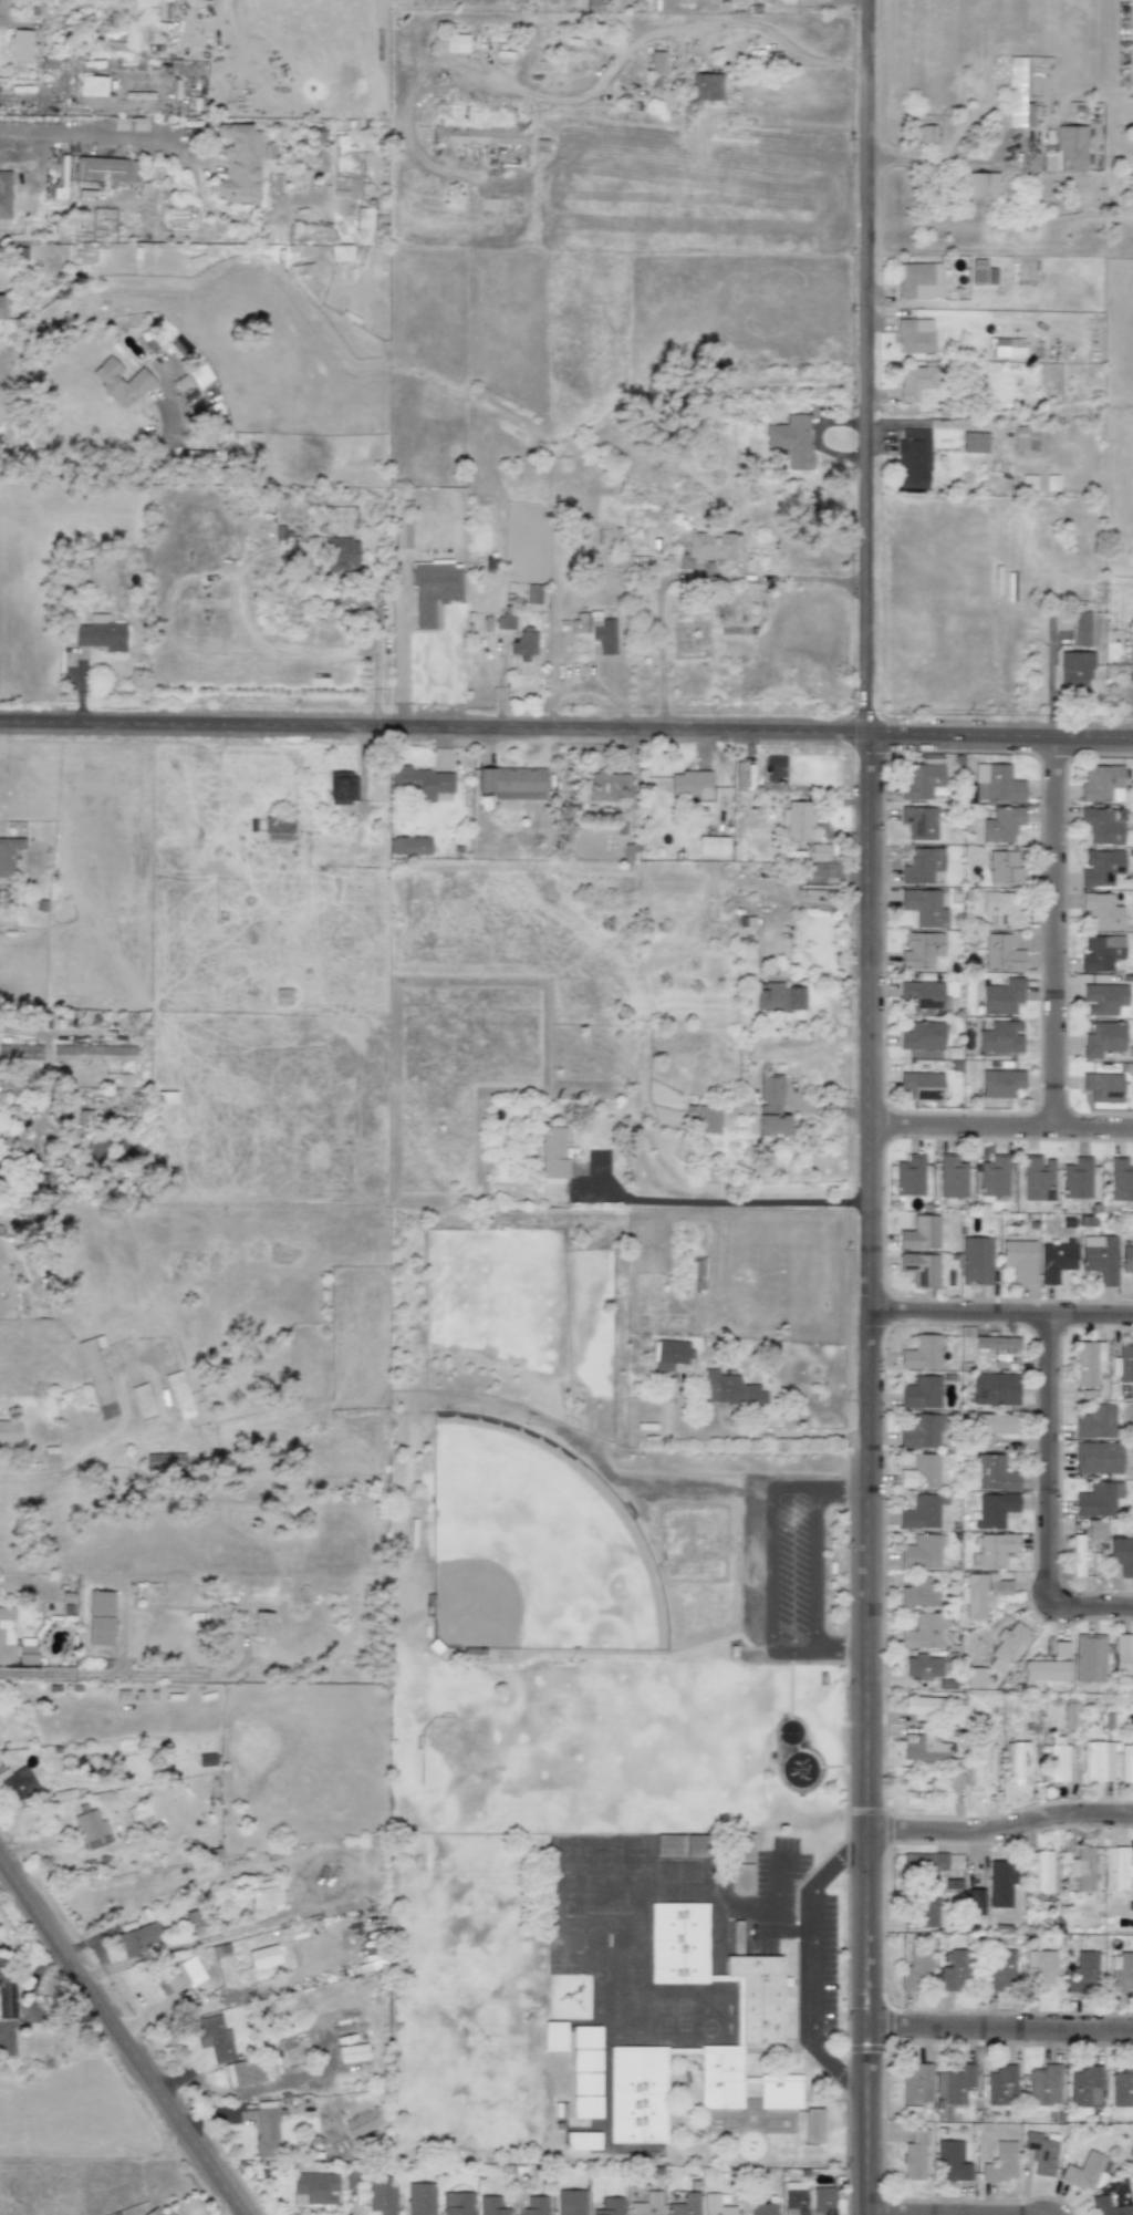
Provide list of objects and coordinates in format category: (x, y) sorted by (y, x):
building: (803, 1)
building: (593, 4)
road: (10, 24)
building: (19, 43)
building: (456, 43)
building: (656, 63)
building: (92, 85)
building: (705, 86)
building: (1017, 95)
road: (571, 101)
building: (129, 124)
building: (927, 133)
building: (477, 135)
road: (86, 141)
building: (1067, 149)
road: (952, 161)
building: (238, 164)
building: (101, 169)
building: (979, 184)
building: (4, 194)
building: (364, 218)
building: (340, 252)
building: (86, 253)
building: (984, 272)
building: (918, 280)
building: (0, 307)
building: (1005, 348)
building: (121, 382)
building: (1025, 438)
building: (791, 441)
building: (974, 442)
building: (913, 459)
road: (90, 472)
building: (1040, 482)
building: (402, 534)
building: (654, 544)
building: (707, 547)
building: (341, 556)
road: (803, 578)
building: (434, 590)
building: (532, 593)
road: (659, 612)
building: (506, 622)
building: (1081, 628)
building: (595, 630)
building: (98, 633)
building: (523, 644)
road: (376, 649)
building: (1073, 671)
road: (1048, 679)
road: (566, 727)
building: (919, 780)
building: (420, 782)
building: (1100, 782)
building: (513, 783)
building: (996, 783)
building: (689, 784)
building: (341, 787)
building: (609, 787)
building: (797, 820)
building: (919, 821)
building: (1001, 825)
building: (1103, 825)
building: (278, 829)
building: (408, 846)
building: (711, 846)
building: (819, 851)
building: (8, 855)
building: (1100, 866)
building: (924, 867)
building: (1004, 867)
building: (924, 907)
building: (1002, 909)
building: (1101, 911)
road: (1054, 935)
building: (921, 950)
building: (1100, 952)
building: (1001, 953)
building: (922, 994)
building: (282, 996)
building: (1001, 996)
building: (778, 997)
building: (1103, 1000)
building: (923, 1036)
building: (999, 1036)
building: (1102, 1038)
building: (90, 1054)
building: (20, 1056)
building: (1000, 1083)
building: (922, 1085)
building: (1102, 1087)
building: (770, 1106)
road: (871, 1107)
building: (707, 1119)
road: (1002, 1130)
building: (551, 1153)
building: (909, 1176)
building: (992, 1177)
building: (952, 1178)
building: (1037, 1178)
building: (1075, 1178)
building: (1120, 1180)
road: (727, 1201)
building: (919, 1233)
building: (1099, 1257)
building: (975, 1260)
building: (1019, 1260)
building: (1056, 1260)
building: (1126, 1261)
building: (919, 1269)
building: (692, 1274)
road: (1001, 1316)
building: (995, 1343)
building: (921, 1353)
building: (668, 1354)
building: (1087, 1363)
building: (1122, 1363)
building: (96, 1376)
building: (995, 1388)
building: (729, 1389)
building: (919, 1393)
building: (178, 1395)
building: (142, 1401)
building: (1094, 1421)
building: (995, 1424)
building: (9, 1431)
building: (919, 1432)
road: (776, 1435)
building: (50, 1458)
building: (1098, 1458)
road: (72, 1469)
building: (921, 1471)
building: (994, 1473)
road: (843, 1488)
building: (1098, 1499)
road: (1049, 1505)
building: (994, 1509)
building: (921, 1512)
building: (1094, 1529)
building: (992, 1550)
building: (919, 1552)
building: (1077, 1555)
building: (1121, 1555)
road: (766, 1571)
road: (814, 1571)
building: (918, 1592)
building: (980, 1594)
building: (98, 1617)
building: (261, 1625)
building: (923, 1631)
building: (6, 1636)
building: (1006, 1645)
building: (25, 1650)
road: (843, 1654)
building: (1122, 1654)
building: (1089, 1657)
building: (923, 1667)
building: (1046, 1670)
road: (33, 1675)
building: (975, 1677)
building: (922, 1706)
building: (1070, 1716)
building: (1, 1730)
building: (924, 1748)
building: (1059, 1760)
building: (1096, 1761)
building: (1017, 1762)
building: (1126, 1763)
building: (980, 1766)
building: (953, 1781)
building: (15, 1782)
building: (917, 1791)
building: (138, 1811)
road: (1001, 1828)
building: (92, 1830)
building: (680, 1845)
building: (740, 1863)
building: (923, 1863)
building: (1082, 1867)
building: (1120, 1867)
building: (1040, 1872)
building: (999, 1883)
building: (264, 1897)
building: (975, 1902)
building: (924, 1912)
road: (776, 1914)
building: (138, 1938)
building: (678, 1943)
building: (263, 1956)
road: (812, 1965)
building: (998, 1969)
building: (914, 1970)
building: (1038, 1970)
building: (1083, 1970)
building: (953, 1971)
building: (1119, 1973)
building: (178, 1975)
building: (7, 1995)
building: (757, 1996)
road: (1001, 2029)
road: (119, 2036)
building: (553, 2036)
building: (212, 2037)
building: (585, 2037)
building: (352, 2052)
building: (285, 2054)
building: (584, 2060)
building: (246, 2072)
building: (721, 2077)
building: (584, 2083)
building: (958, 2083)
building: (916, 2084)
building: (1001, 2085)
building: (1043, 2085)
building: (1084, 2087)
building: (1122, 2087)
building: (779, 2091)
building: (637, 2094)
building: (585, 2107)
building: (363, 2122)
building: (813, 2125)
building: (266, 2133)
building: (582, 2141)
building: (1041, 2152)
building: (914, 2156)
building: (950, 2161)
building: (1000, 2163)
building: (1083, 2171)
building: (313, 2188)
building: (382, 2197)
building: (419, 2198)
building: (793, 2198)
building: (822, 2201)
building: (570, 2202)
building: (456, 2204)
building: (646, 2204)
building: (490, 2205)
building: (685, 2205)
building: (715, 2205)
building: (533, 2206)
building: (609, 2206)
building: (1106, 2206)
building: (761, 2208)
building: (152, 2212)
building: (165, 2213)
road: (950, 2214)

